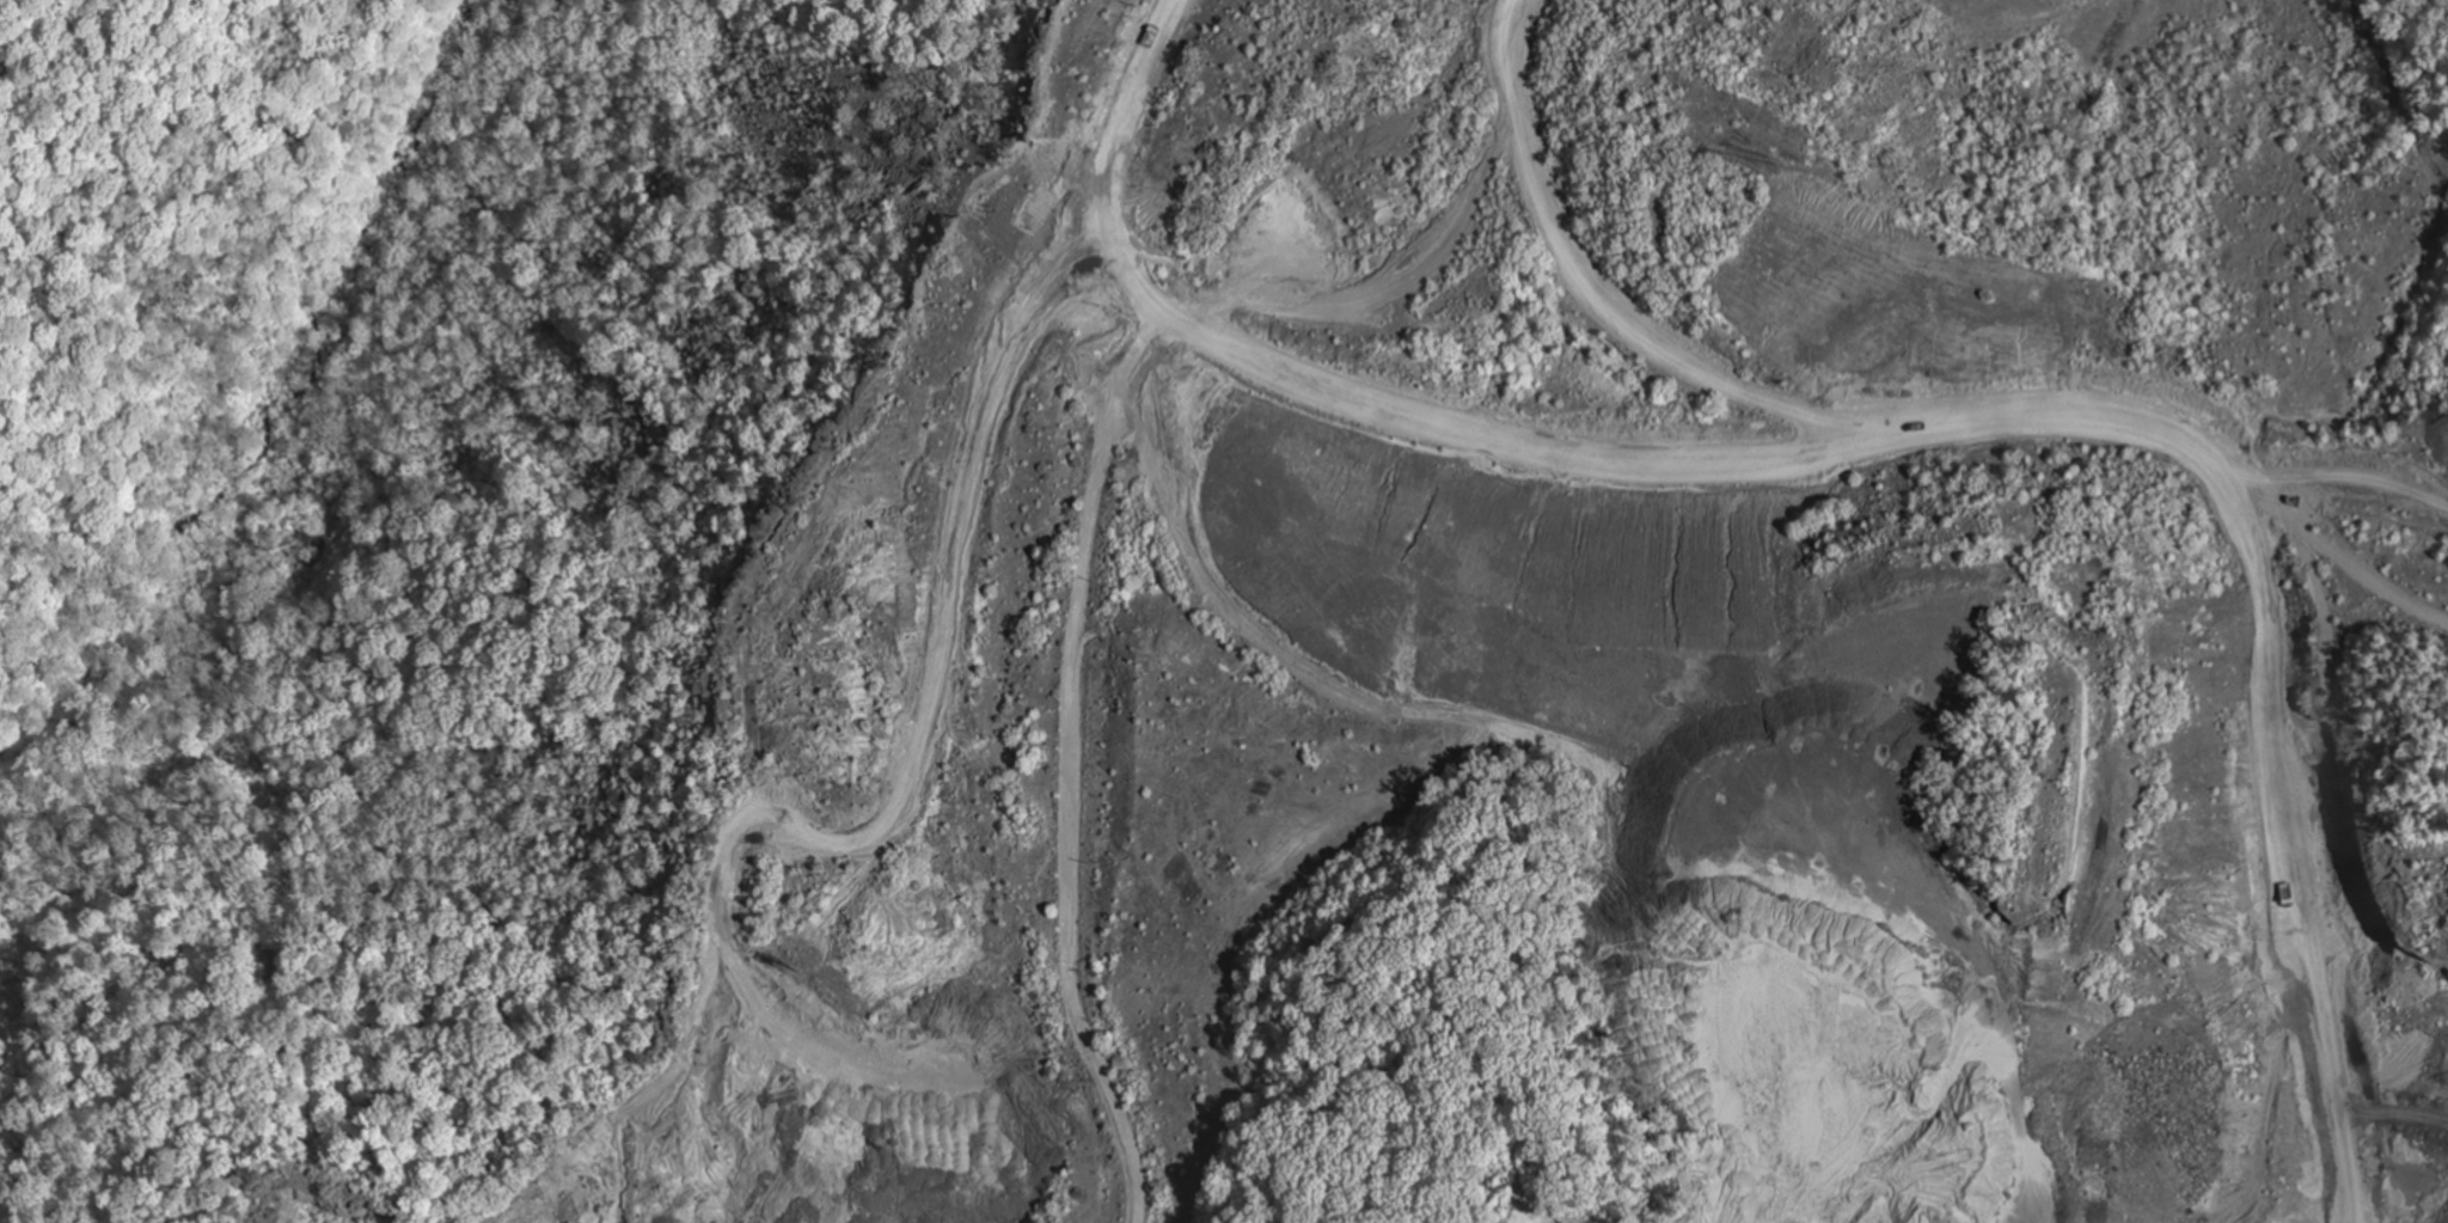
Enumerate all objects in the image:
road: (1106, 175)
road: (2080, 423)
road: (2344, 487)
road: (1100, 490)
road: (942, 647)

